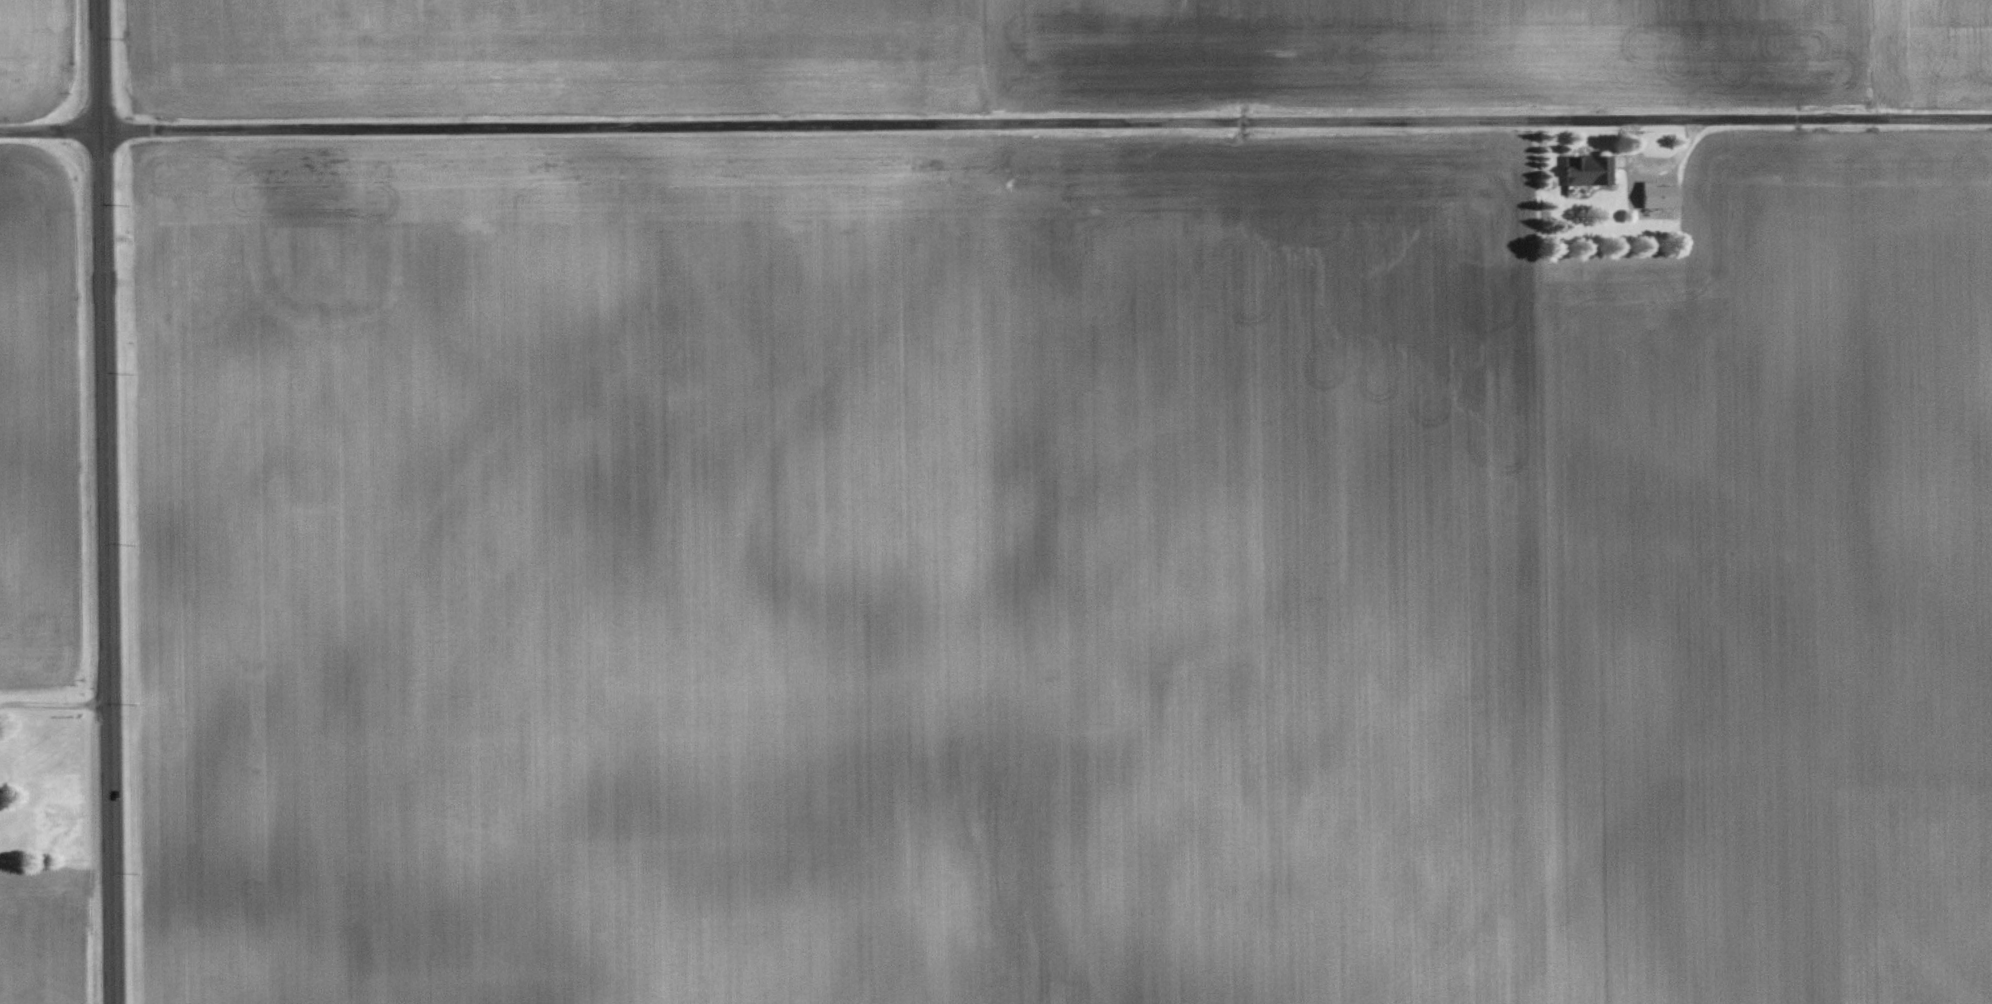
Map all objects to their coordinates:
road: (996, 124)
building: (1589, 167)
road: (106, 501)

